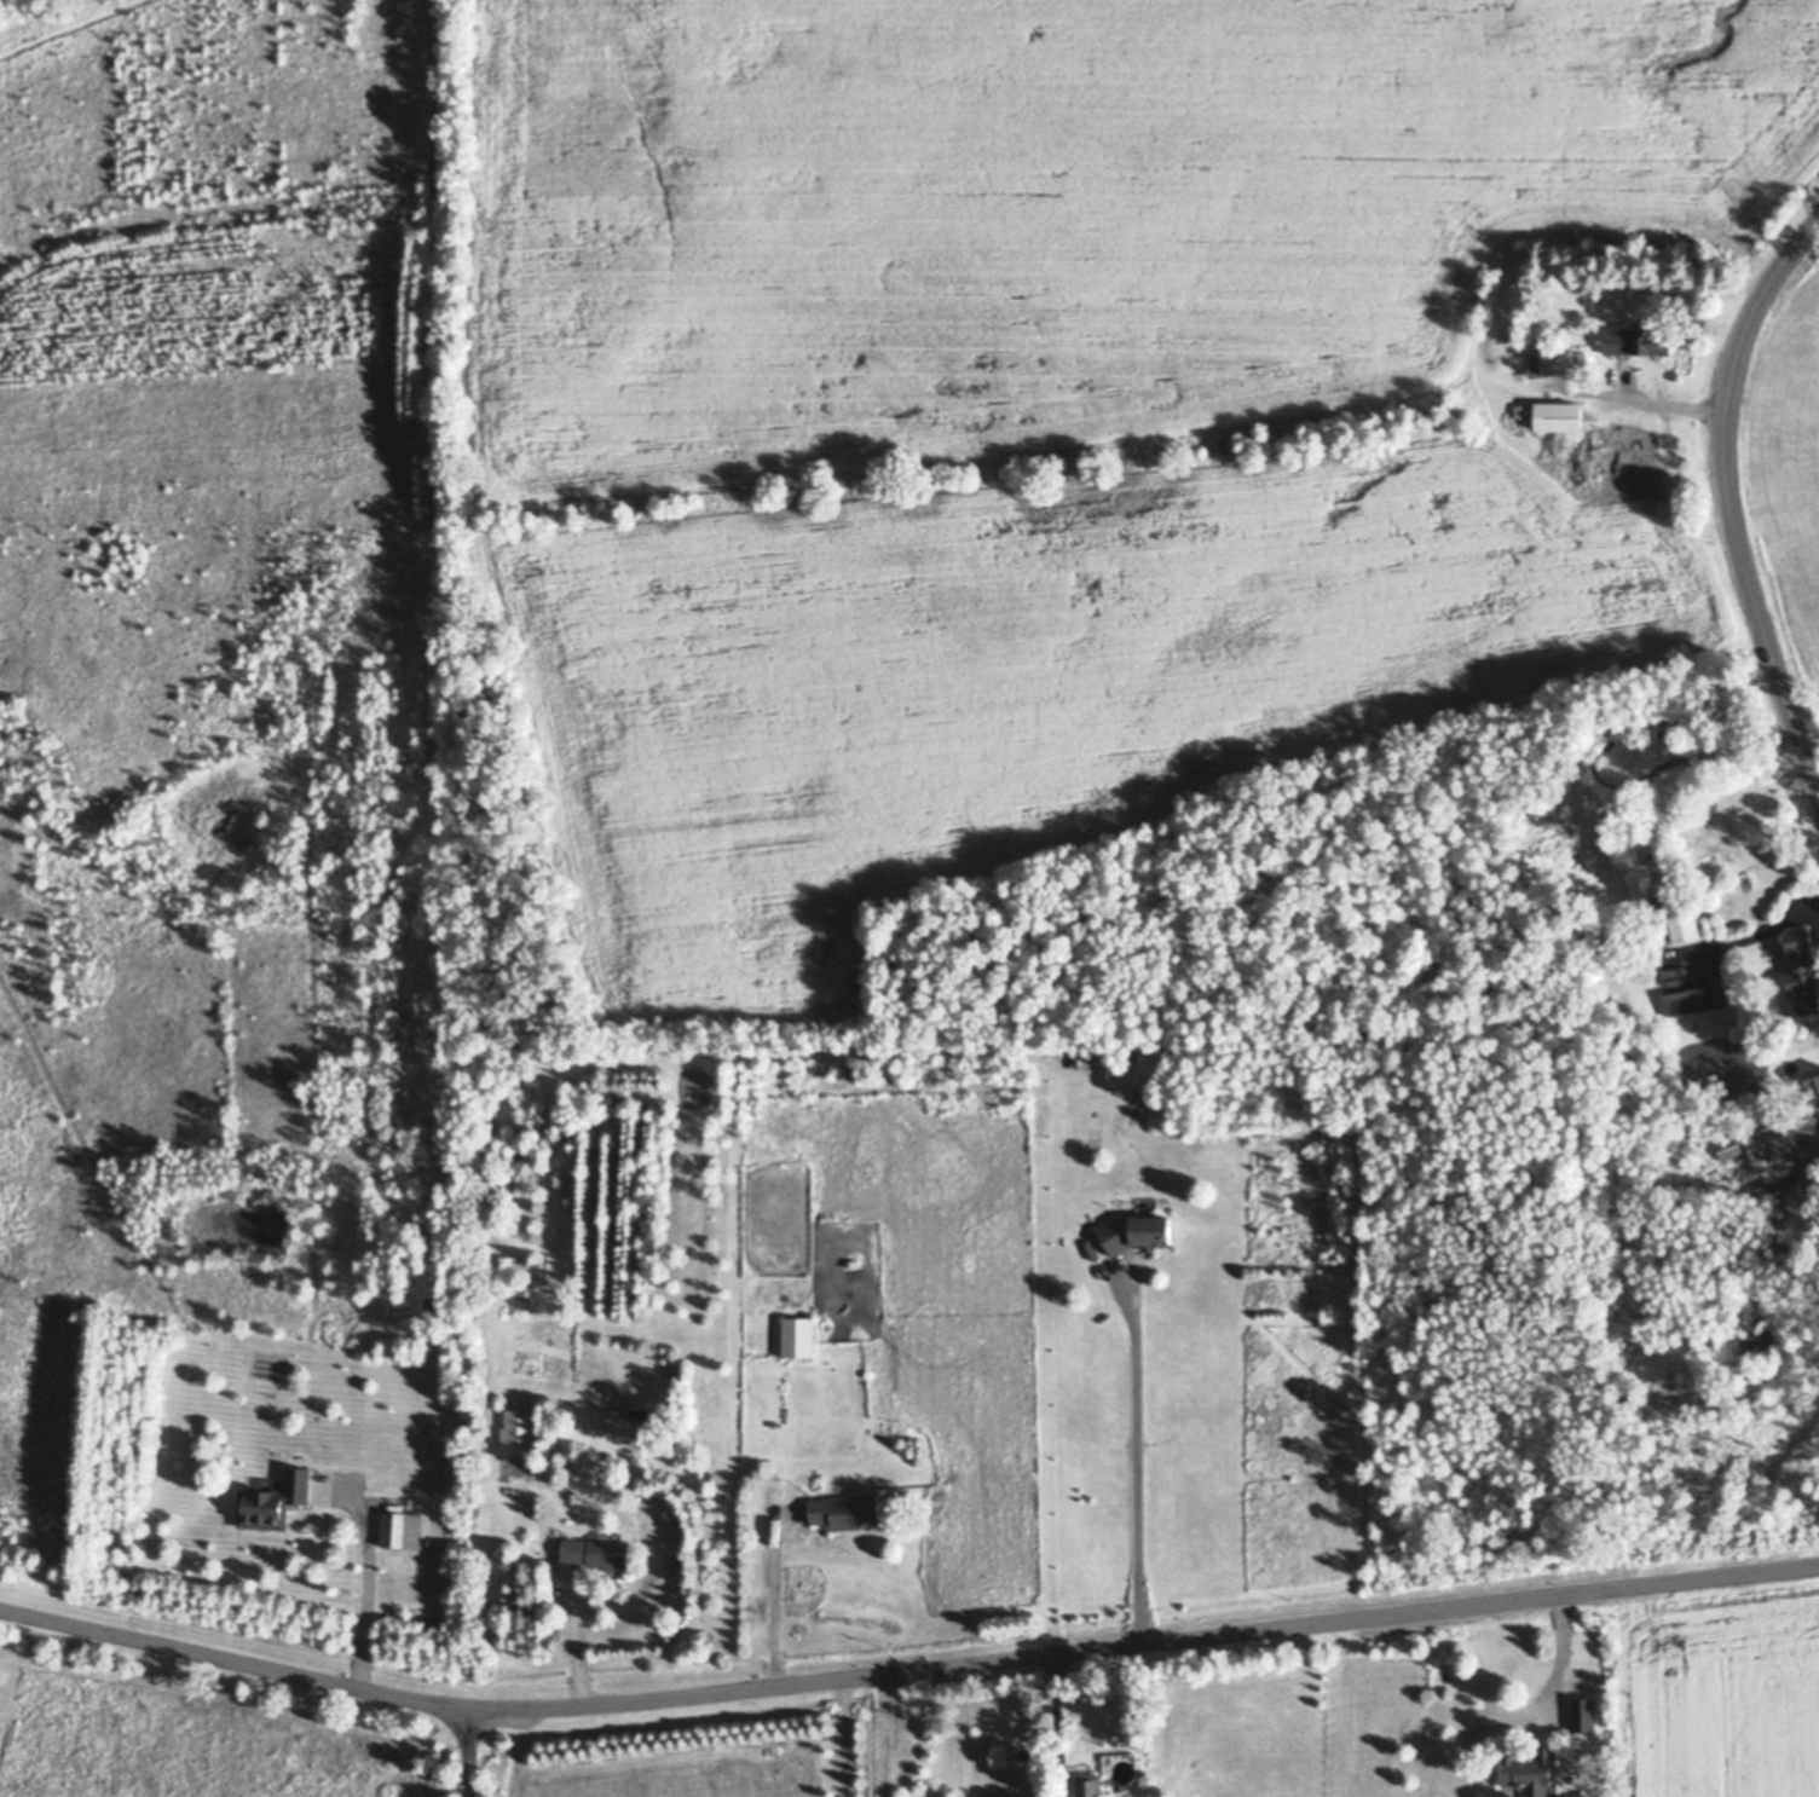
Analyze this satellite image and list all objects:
building: (1638, 341)
building: (1560, 362)
road: (1663, 403)
building: (1520, 411)
building: (1557, 416)
building: (1223, 439)
building: (1636, 489)
road: (1727, 499)
building: (520, 524)
building: (1, 684)
building: (1651, 912)
building: (1681, 928)
road: (1759, 934)
building: (1802, 971)
building: (1693, 1002)
building: (1061, 1048)
building: (1116, 1058)
building: (849, 1069)
building: (1813, 1085)
building: (1716, 1108)
building: (1730, 1146)
building: (1775, 1152)
building: (1132, 1232)
building: (854, 1265)
building: (797, 1339)
building: (515, 1433)
road: (1141, 1470)
building: (272, 1503)
building: (844, 1513)
building: (391, 1531)
building: (595, 1554)
road: (366, 1593)
road: (776, 1606)
road: (571, 1636)
road: (1558, 1660)
road: (906, 1674)
building: (1583, 1716)
road: (1055, 1726)
road: (845, 1739)
road: (469, 1752)
building: (443, 1766)
building: (1530, 1770)
building: (1097, 1785)
building: (1030, 1796)

